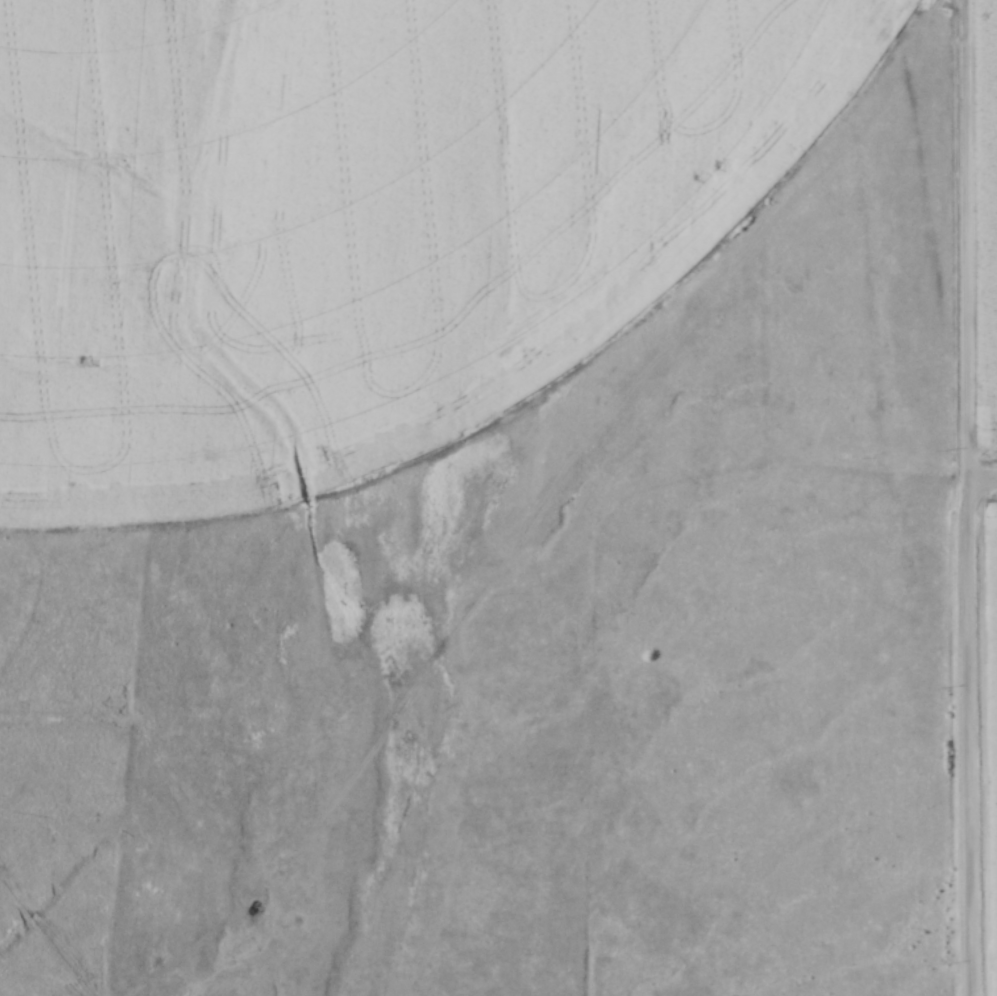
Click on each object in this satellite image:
road: (981, 479)
road: (966, 498)

